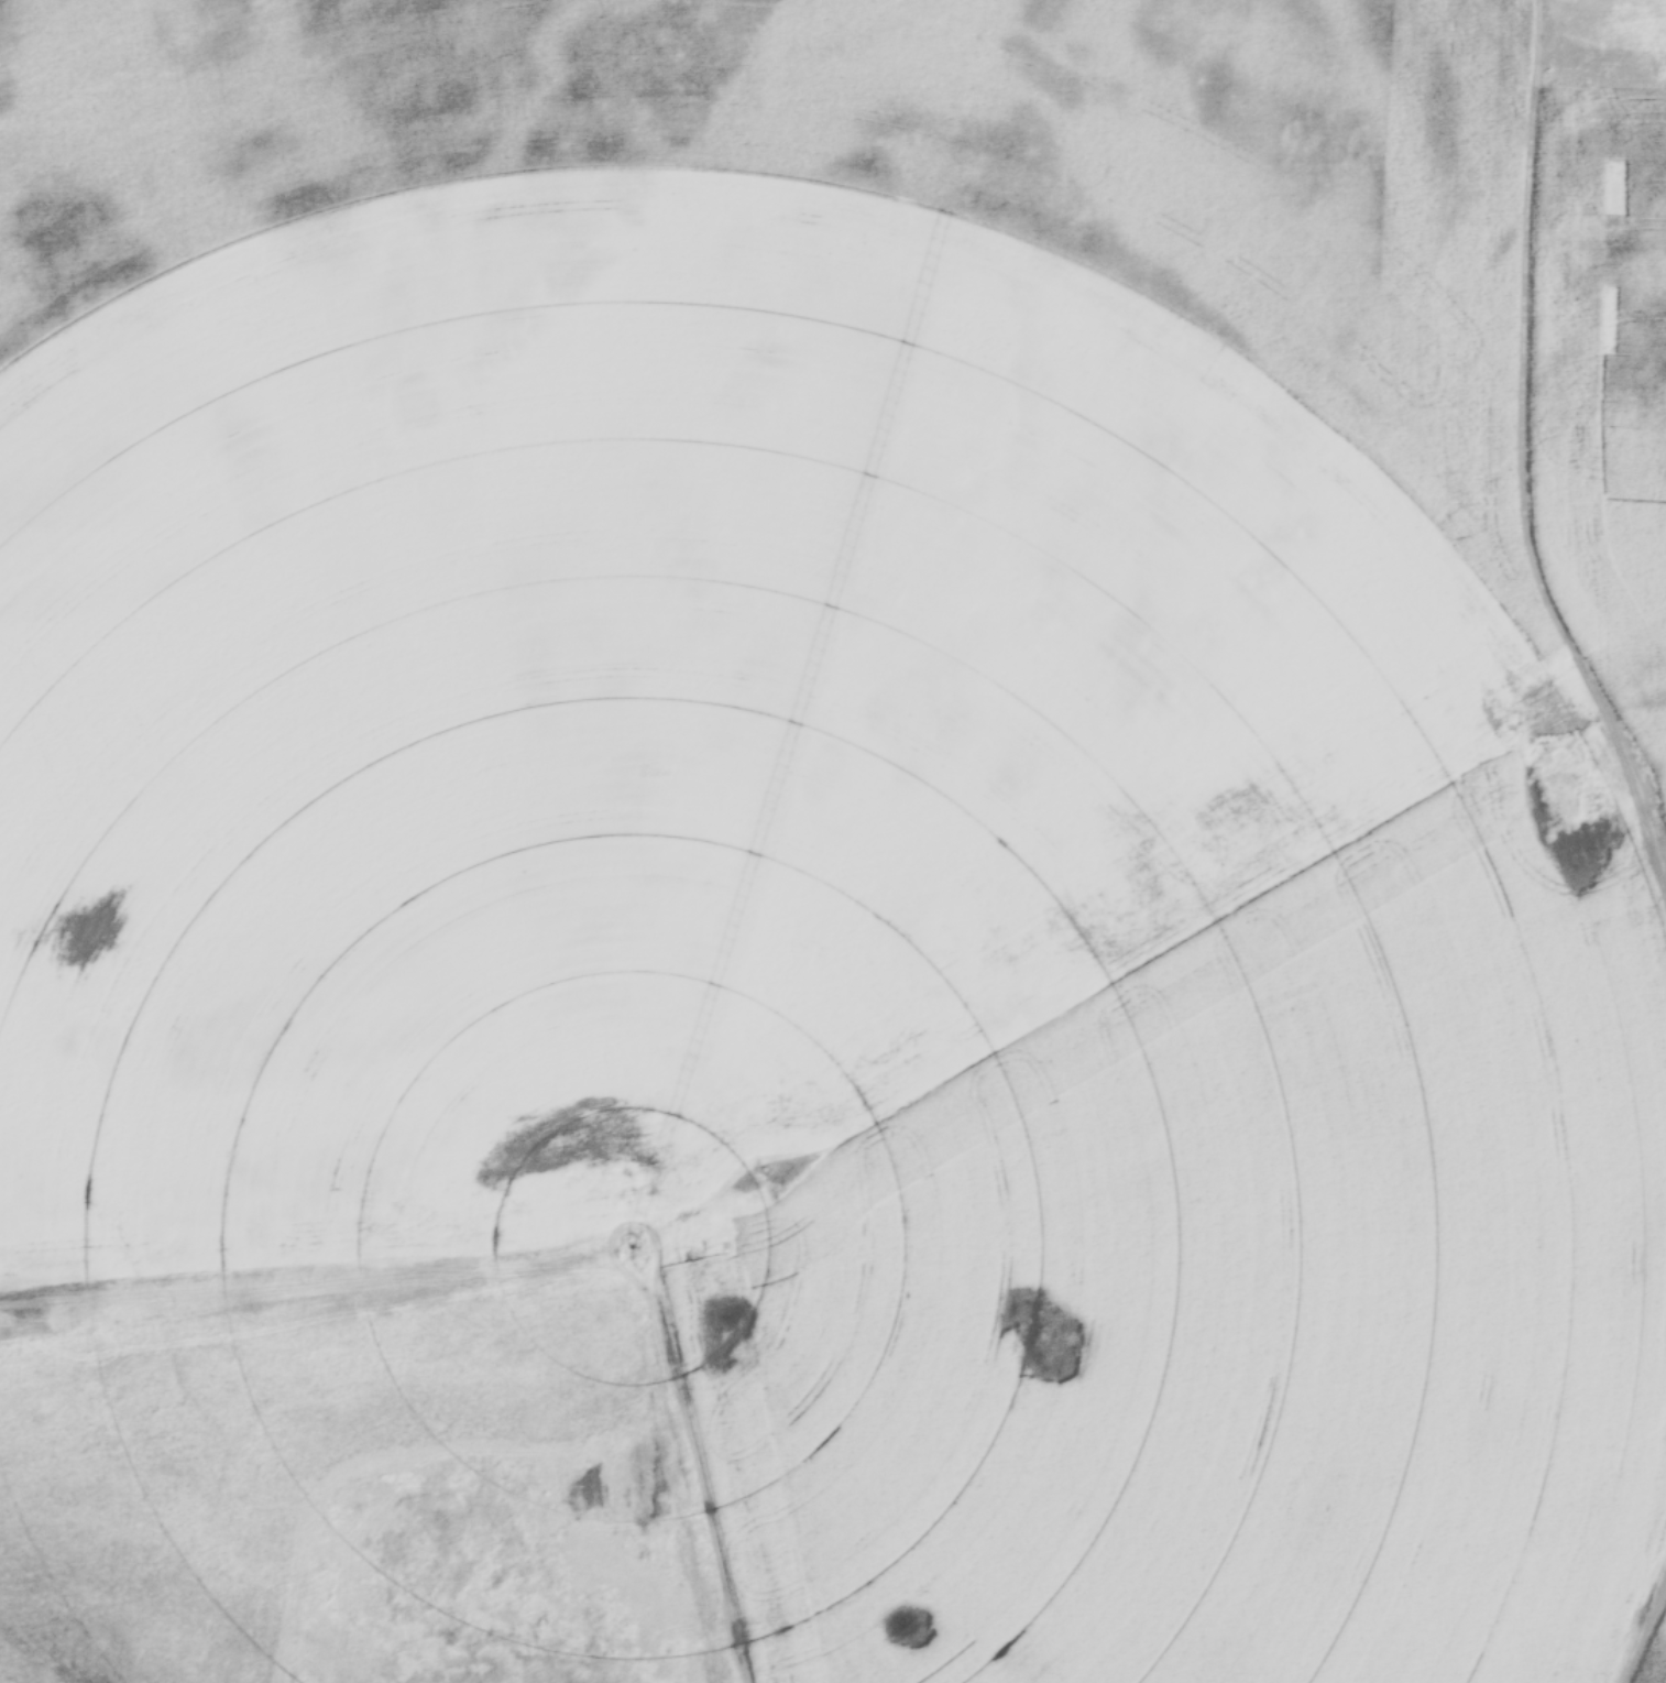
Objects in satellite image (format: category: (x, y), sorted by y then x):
building: (1251, 780)

